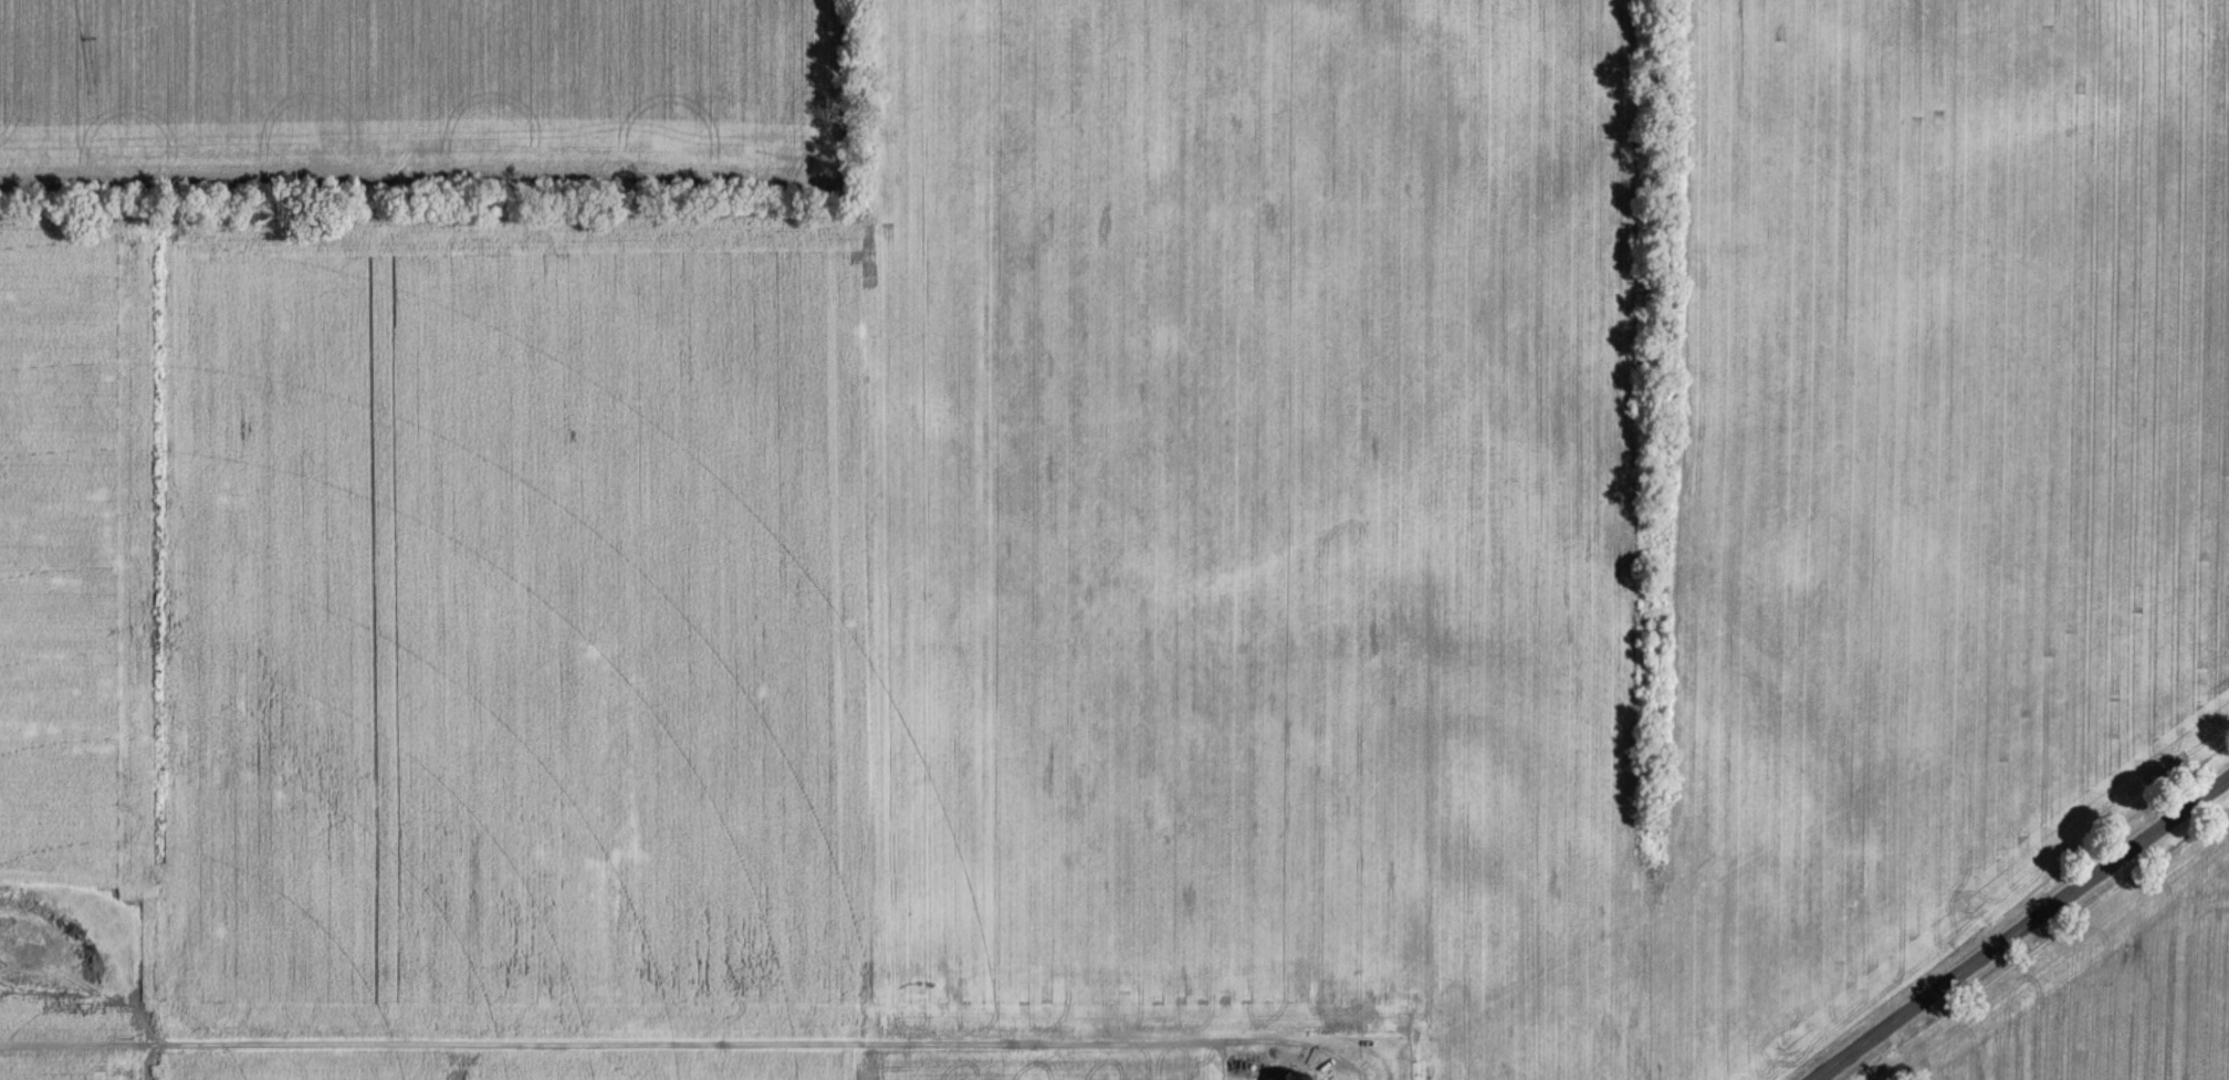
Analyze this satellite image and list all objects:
road: (2020, 930)

